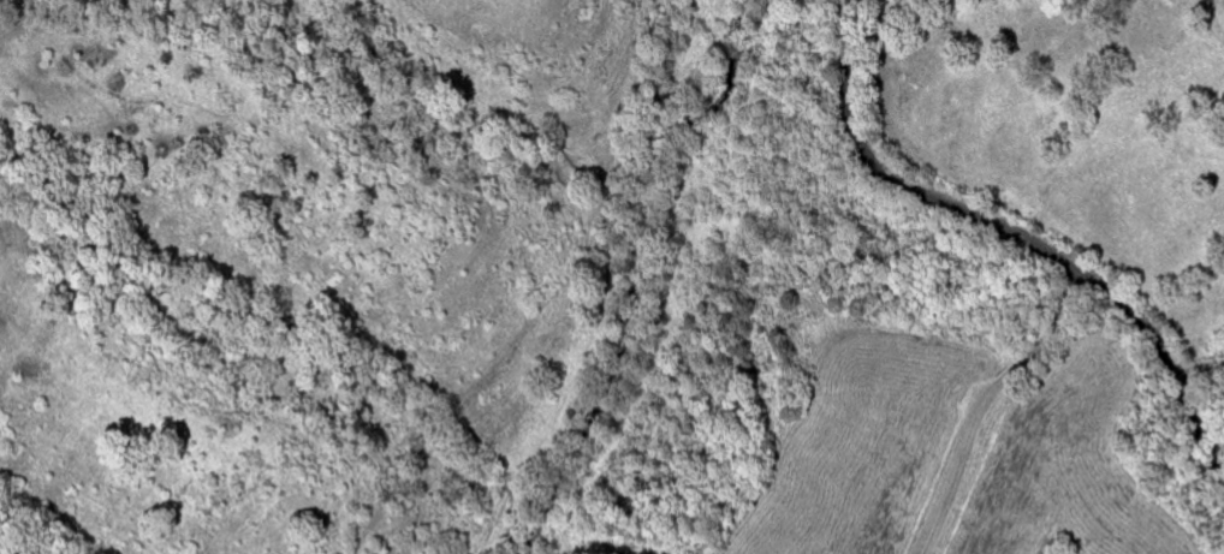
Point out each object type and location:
road: (1020, 236)
road: (1195, 358)
road: (980, 400)

